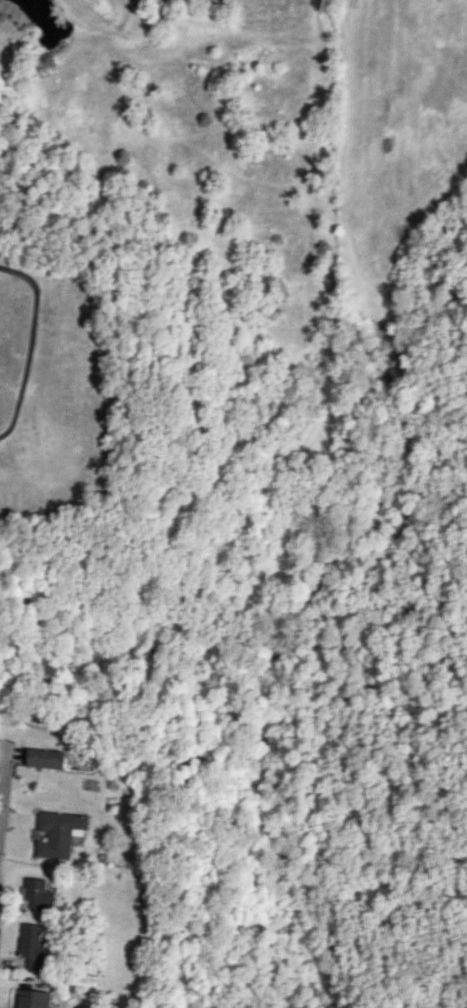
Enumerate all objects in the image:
road: (40, 346)
park: (49, 392)
building: (43, 758)
building: (57, 833)
road: (3, 851)
building: (35, 894)
building: (31, 946)
building: (31, 999)

